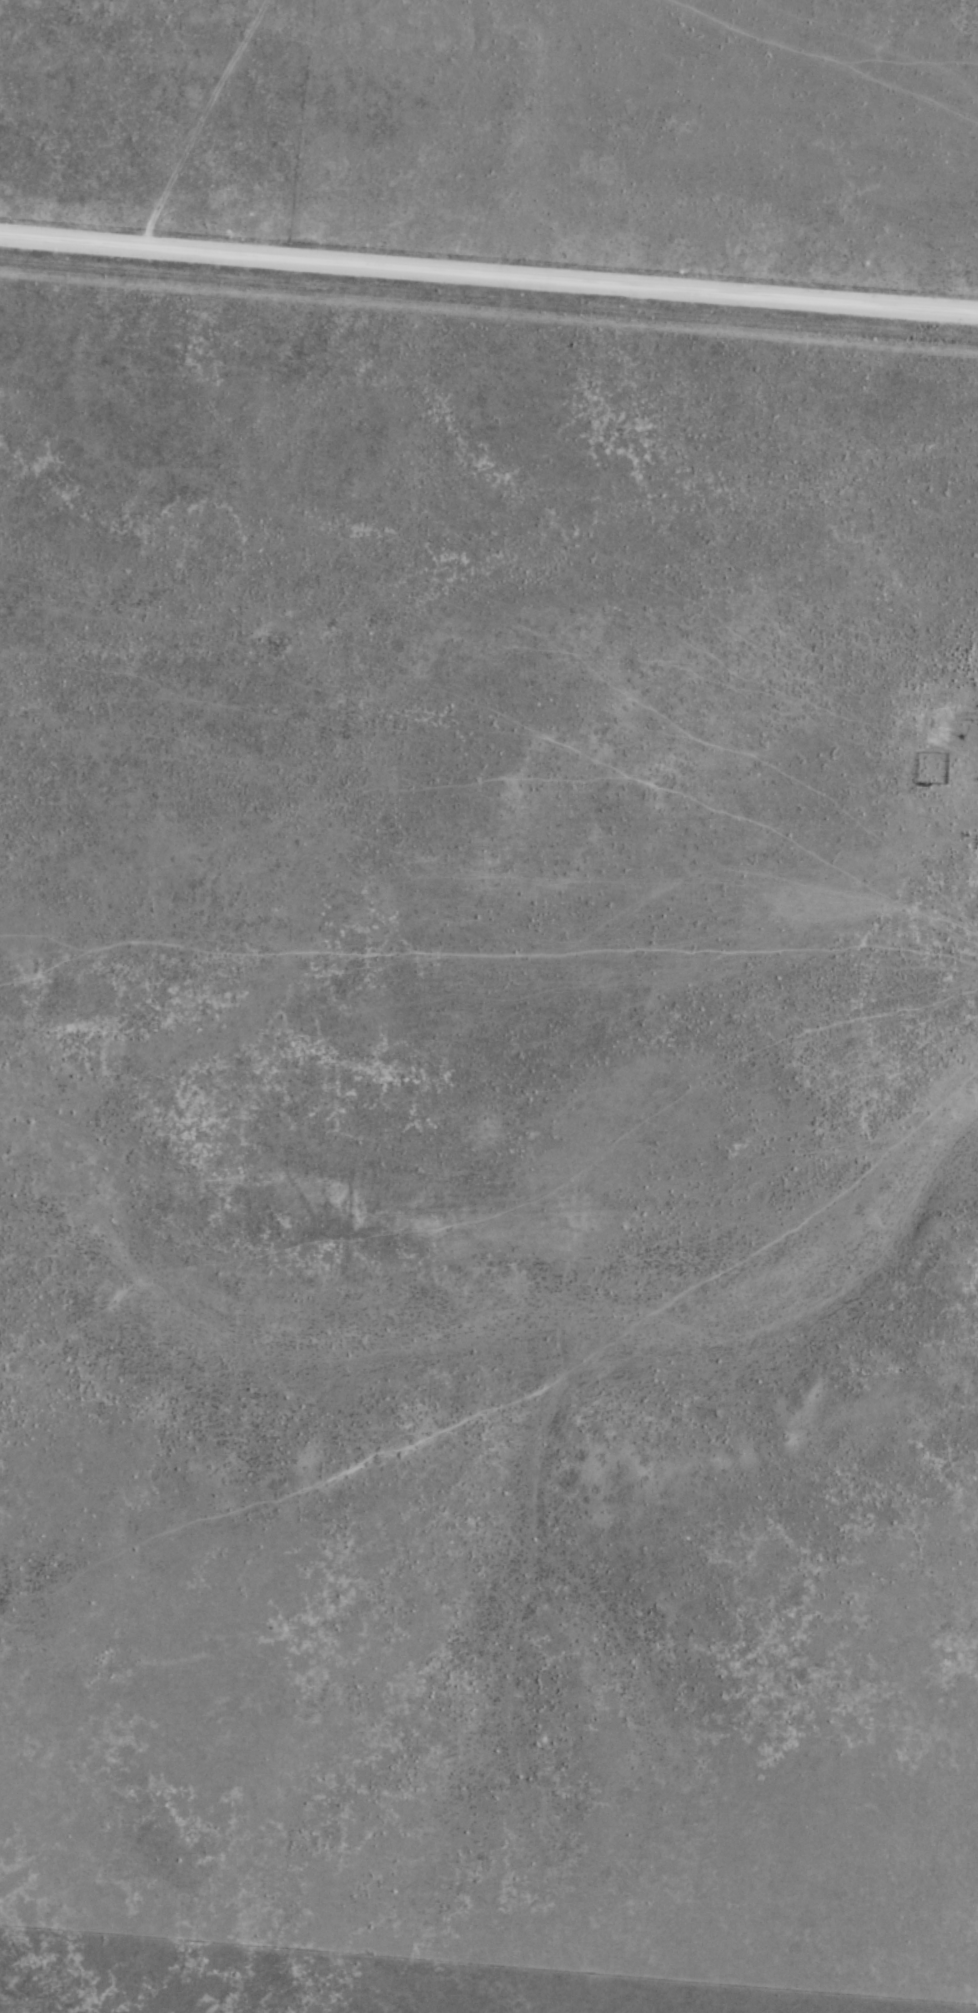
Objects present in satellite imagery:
road: (201, 132)
road: (489, 279)
road: (928, 817)

